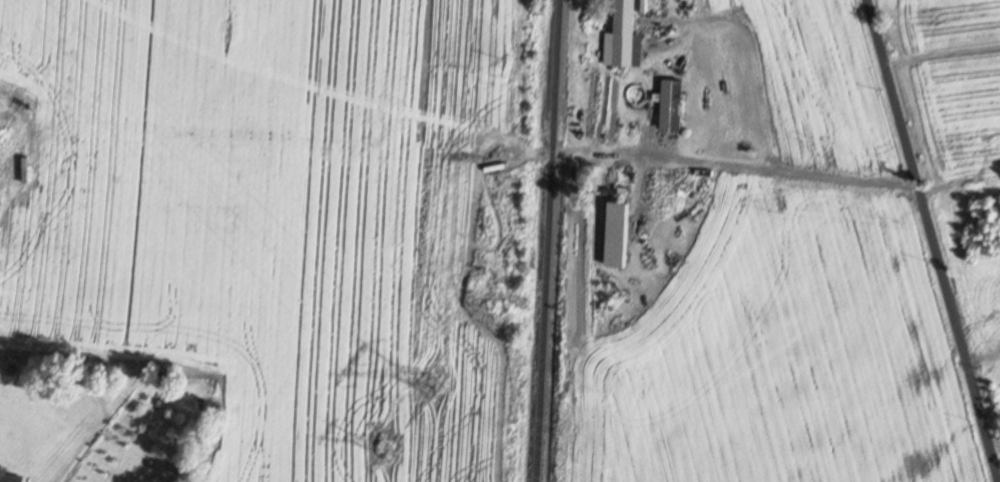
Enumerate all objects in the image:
building: (628, 32)
building: (675, 104)
building: (620, 232)
road: (934, 240)
railway: (549, 241)
power tower: (433, 385)
power tower: (387, 450)
building: (10, 476)

